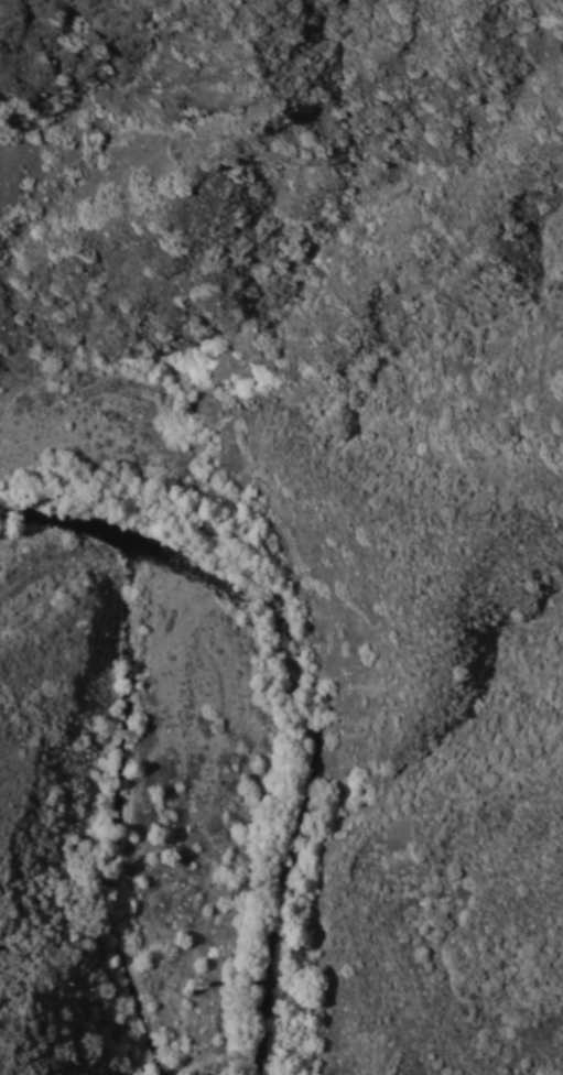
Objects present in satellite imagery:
river: (293, 677)
road: (444, 872)

